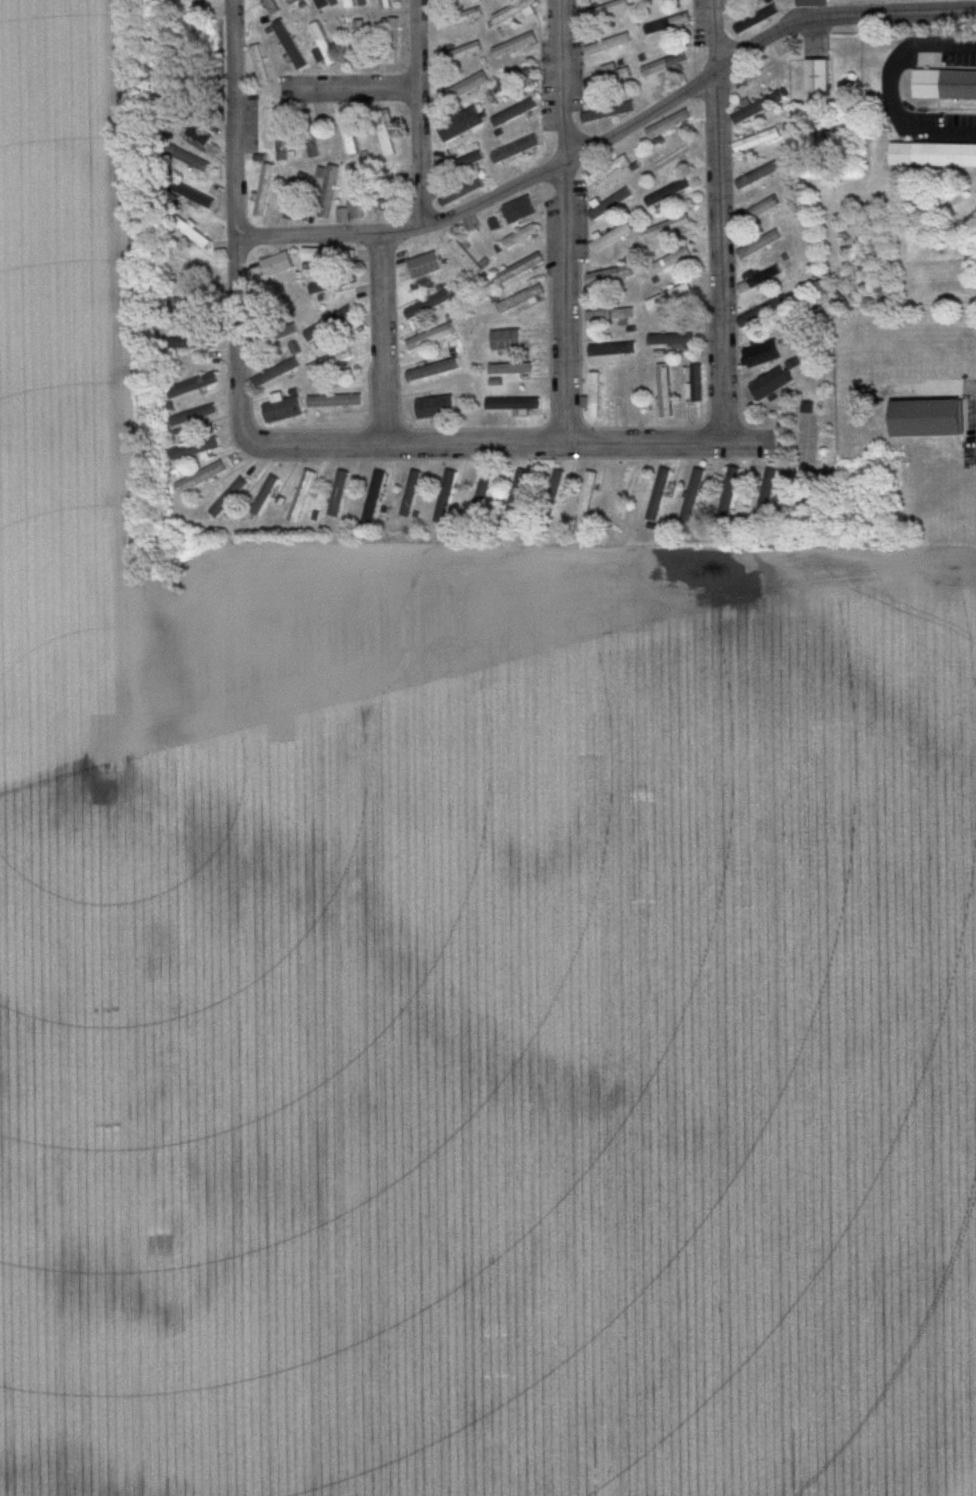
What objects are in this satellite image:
building: (438, 0)
building: (292, 2)
building: (812, 2)
building: (320, 4)
building: (350, 4)
building: (385, 4)
building: (515, 10)
building: (606, 10)
building: (460, 19)
building: (757, 19)
building: (667, 24)
building: (391, 41)
building: (360, 44)
building: (609, 44)
building: (290, 45)
building: (515, 45)
building: (323, 47)
building: (459, 54)
building: (259, 65)
building: (664, 65)
building: (820, 75)
building: (518, 77)
building: (610, 77)
building: (946, 85)
road: (350, 87)
road: (886, 88)
building: (463, 89)
building: (761, 106)
road: (418, 112)
building: (517, 112)
building: (459, 124)
building: (668, 124)
road: (610, 132)
building: (348, 133)
building: (385, 135)
building: (281, 137)
building: (758, 141)
building: (516, 150)
building: (935, 155)
building: (669, 158)
building: (197, 163)
building: (461, 166)
building: (608, 170)
building: (762, 174)
building: (264, 190)
building: (668, 192)
building: (461, 193)
building: (326, 195)
building: (295, 196)
building: (357, 196)
building: (197, 197)
building: (387, 197)
building: (610, 204)
building: (516, 207)
building: (757, 211)
road: (716, 219)
road: (562, 220)
road: (234, 222)
building: (195, 234)
building: (521, 237)
building: (760, 244)
building: (327, 254)
building: (466, 259)
building: (670, 261)
building: (278, 264)
building: (192, 265)
building: (424, 266)
building: (519, 269)
building: (611, 275)
building: (761, 278)
building: (324, 287)
building: (670, 297)
building: (521, 300)
building: (427, 306)
building: (763, 312)
building: (612, 315)
building: (330, 324)
road: (382, 337)
building: (431, 337)
building: (673, 340)
building: (195, 343)
building: (612, 350)
building: (763, 353)
building: (329, 361)
building: (511, 369)
building: (432, 371)
building: (278, 373)
building: (201, 384)
building: (696, 384)
building: (770, 385)
building: (665, 391)
building: (625, 395)
building: (595, 396)
building: (335, 401)
building: (513, 404)
building: (435, 408)
building: (283, 411)
building: (205, 413)
building: (935, 417)
road: (508, 441)
building: (195, 449)
building: (201, 477)
building: (556, 483)
building: (588, 492)
building: (482, 493)
building: (518, 493)
building: (729, 493)
building: (336, 494)
building: (409, 494)
building: (625, 494)
building: (660, 494)
building: (766, 494)
building: (693, 495)
building: (263, 496)
building: (372, 496)
building: (226, 497)
building: (299, 497)
building: (444, 497)
crop: (74, 781)
crop: (592, 1025)

